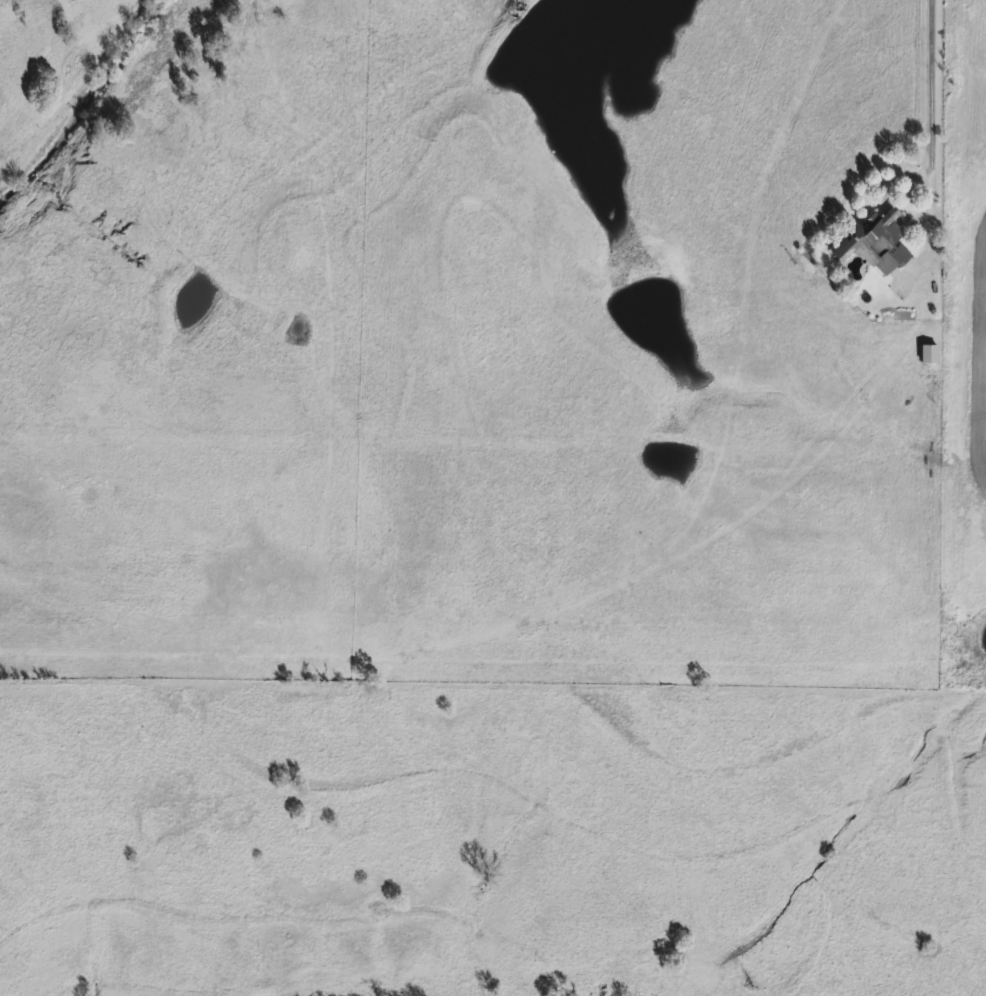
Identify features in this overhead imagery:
road: (924, 112)
building: (872, 241)
building: (927, 353)
crop: (973, 374)

